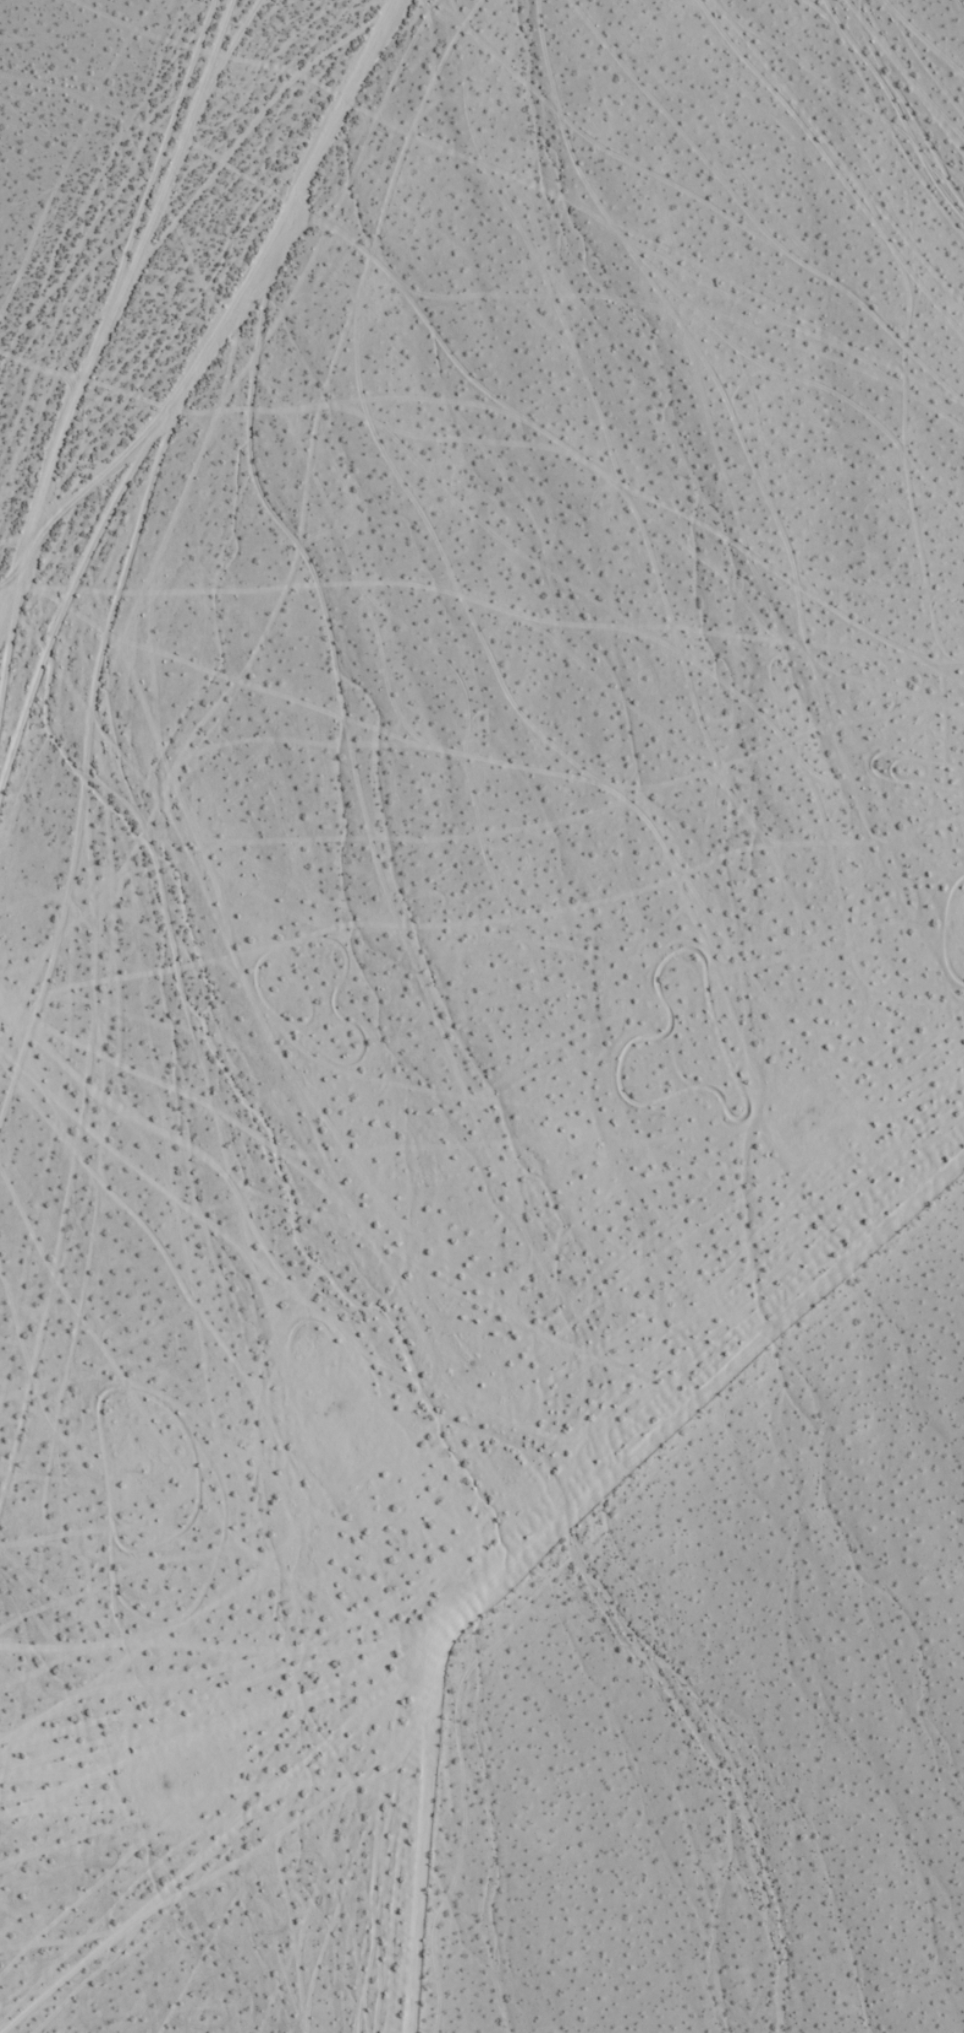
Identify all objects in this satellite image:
road: (170, 415)
road: (557, 1535)

